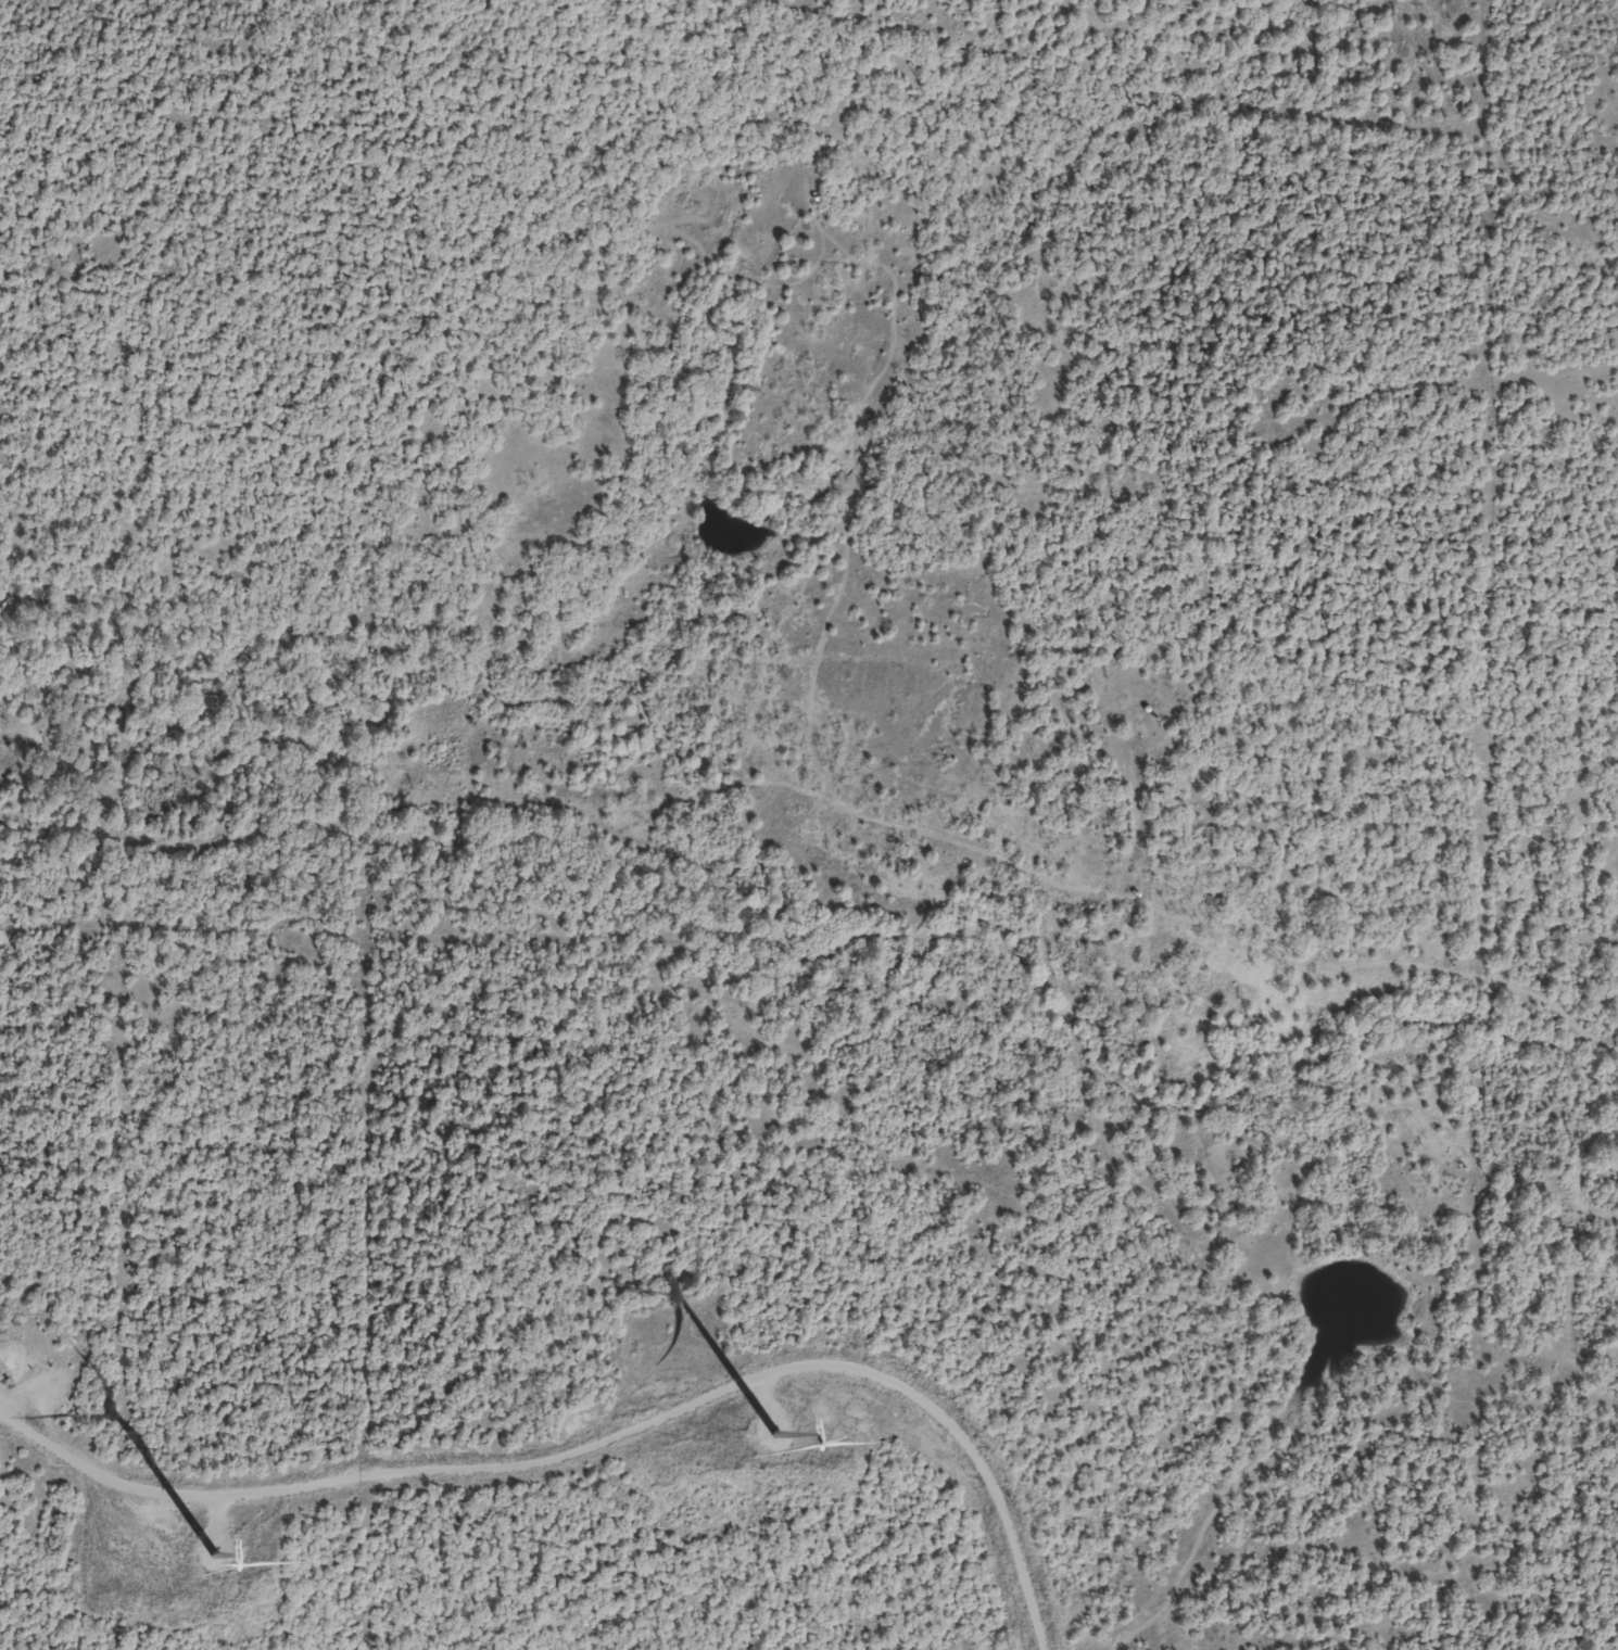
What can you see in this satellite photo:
wind turbine: (775, 1434)
wind turbine: (215, 1552)

